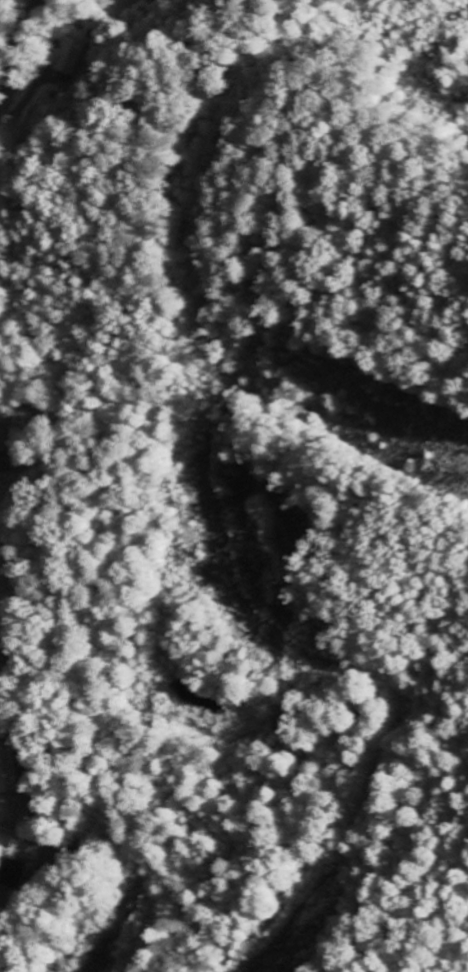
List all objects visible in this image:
road: (15, 51)

